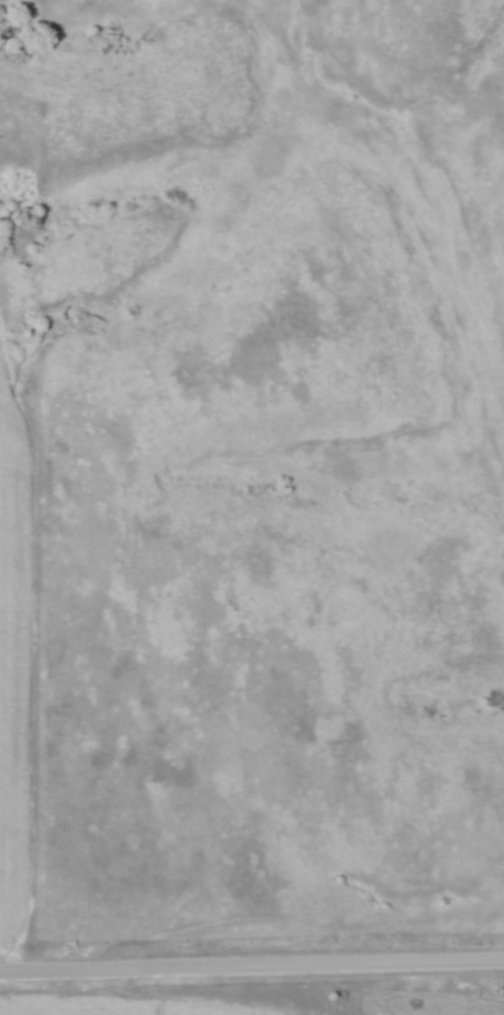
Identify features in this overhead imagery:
road: (252, 965)

